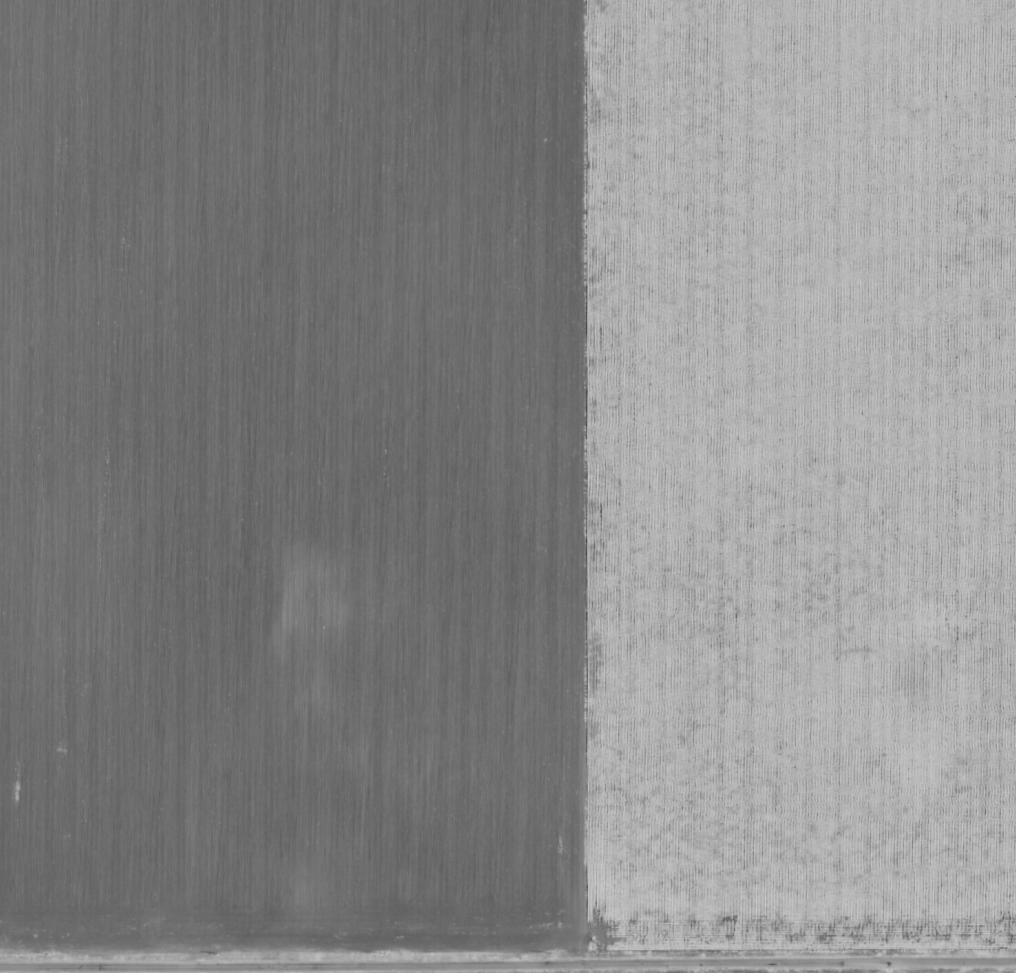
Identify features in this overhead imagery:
road: (508, 965)

